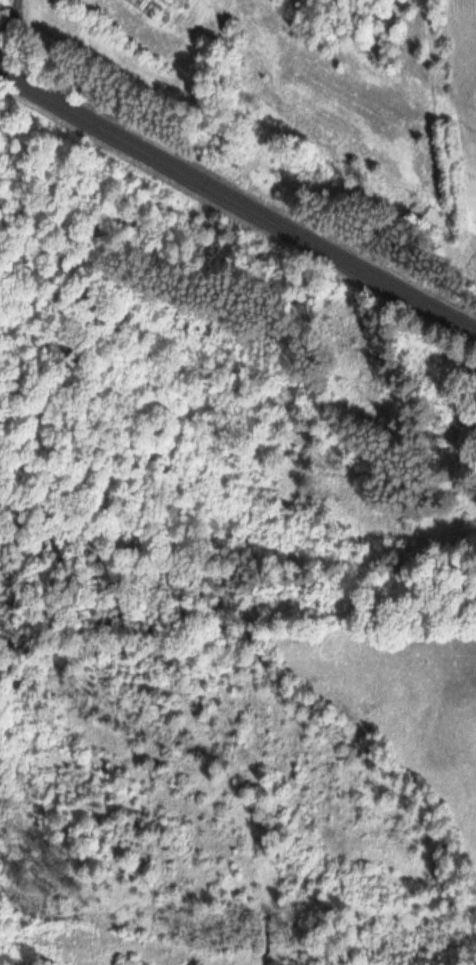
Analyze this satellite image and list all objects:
road: (3, 14)
road: (238, 192)

